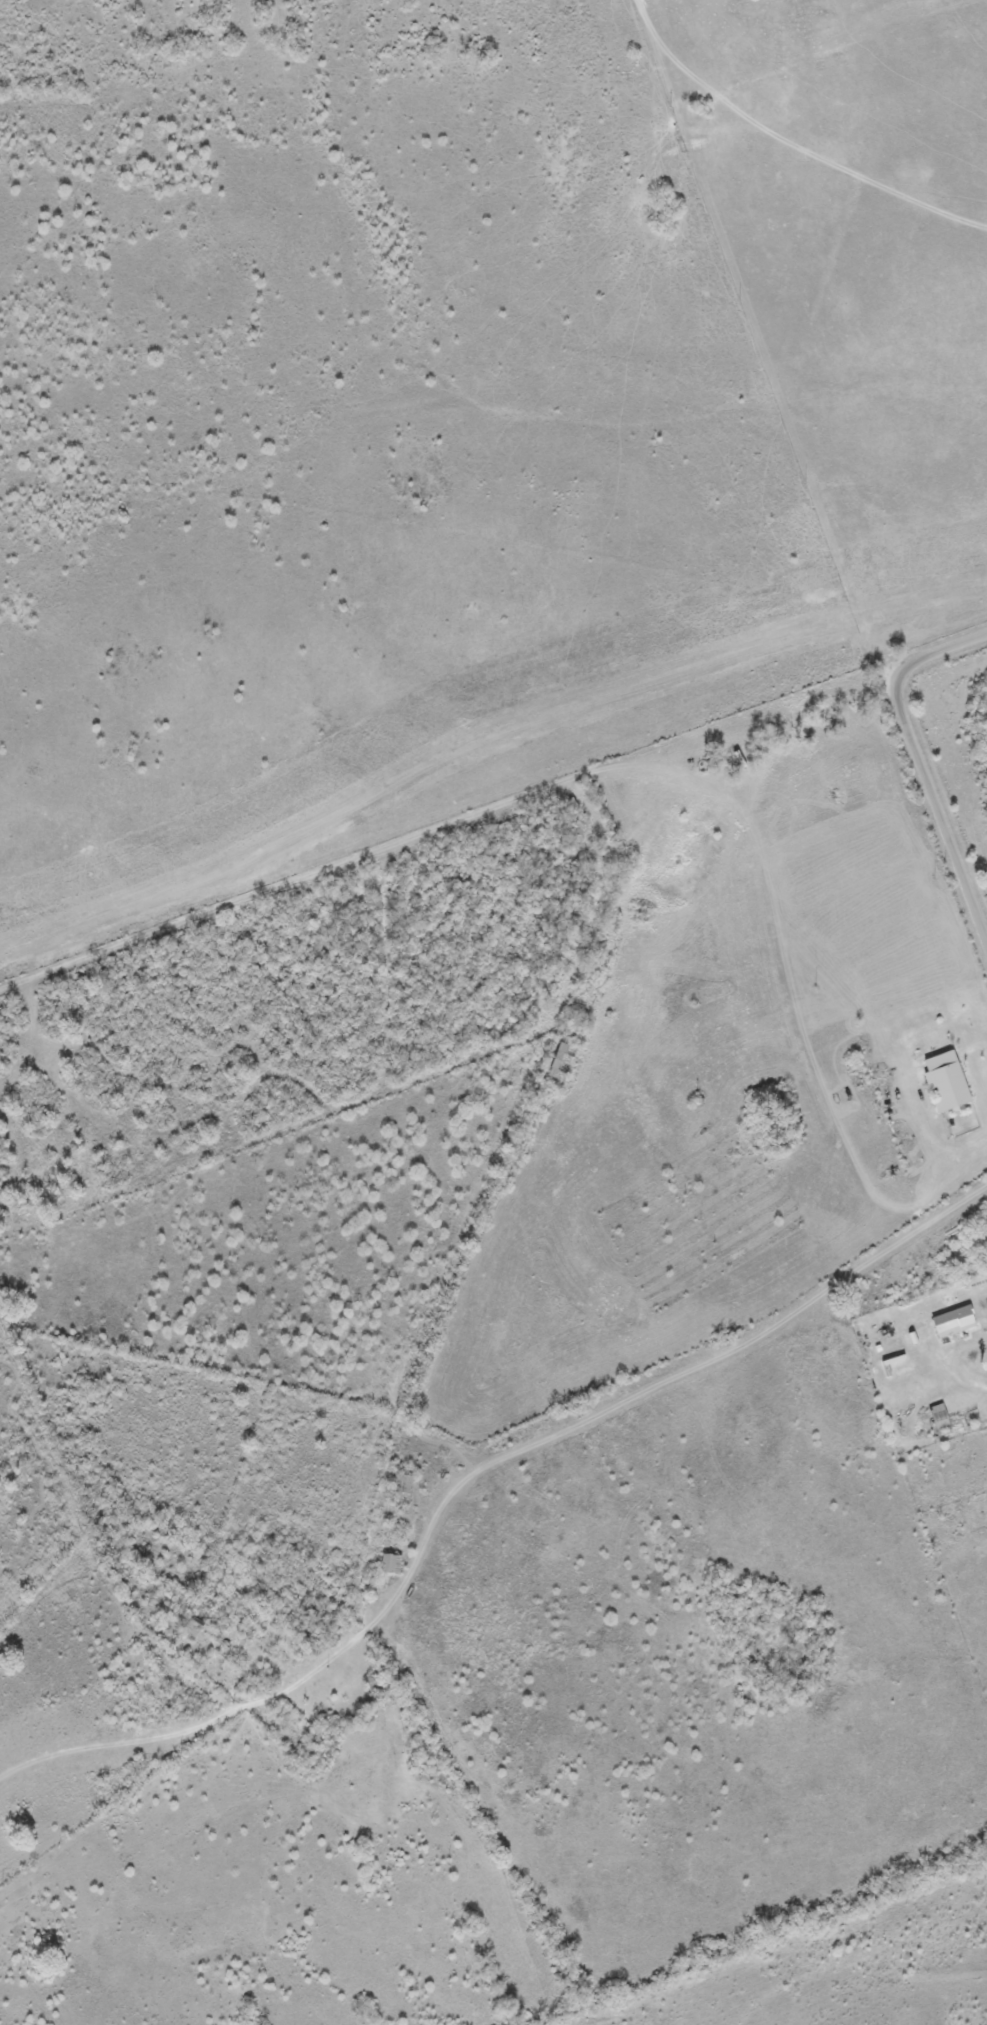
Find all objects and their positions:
road: (923, 764)
building: (561, 1060)
building: (945, 1080)
building: (953, 1320)
road: (963, 1367)
building: (937, 1417)
building: (403, 1483)
building: (389, 1562)
building: (190, 1629)

